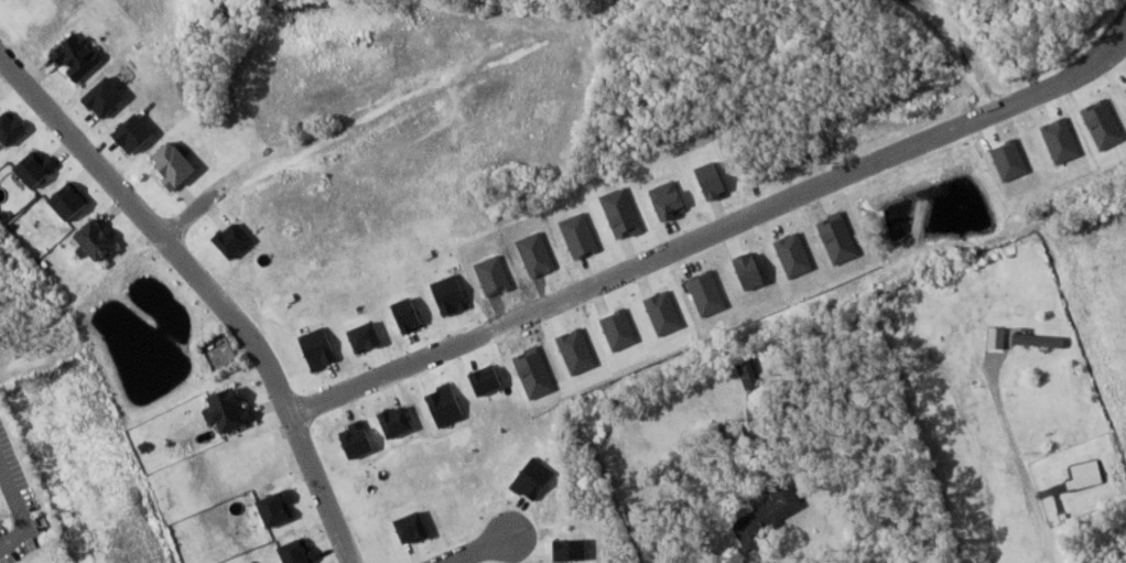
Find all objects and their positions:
building: (76, 56)
building: (175, 165)
road: (190, 215)
road: (717, 235)
building: (97, 239)
road: (206, 290)
building: (995, 337)
building: (750, 373)
building: (229, 410)
building: (769, 515)
road: (479, 549)

